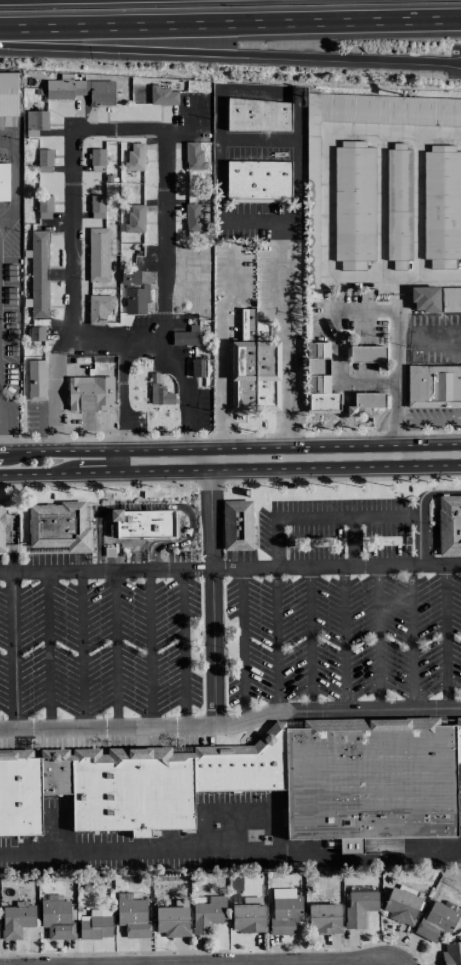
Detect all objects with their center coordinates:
road: (230, 31)
road: (230, 53)
building: (80, 89)
building: (8, 93)
building: (162, 95)
building: (257, 115)
building: (35, 119)
road: (128, 130)
building: (193, 155)
building: (133, 157)
building: (96, 159)
building: (43, 160)
road: (326, 171)
road: (20, 176)
building: (3, 181)
building: (257, 181)
road: (297, 182)
building: (311, 202)
building: (396, 202)
building: (353, 205)
building: (43, 206)
building: (96, 206)
building: (441, 206)
road: (218, 213)
building: (192, 217)
building: (134, 218)
building: (97, 254)
building: (36, 274)
road: (430, 274)
building: (136, 290)
road: (400, 292)
building: (424, 298)
building: (450, 299)
building: (98, 307)
road: (380, 309)
building: (35, 333)
building: (186, 336)
road: (111, 342)
building: (368, 355)
road: (219, 358)
building: (254, 366)
building: (197, 367)
building: (318, 378)
building: (35, 381)
building: (433, 385)
building: (90, 392)
building: (368, 400)
road: (121, 405)
road: (4, 425)
road: (259, 447)
road: (1, 451)
road: (30, 451)
road: (262, 468)
road: (35, 473)
road: (3, 474)
road: (149, 505)
road: (421, 510)
road: (348, 515)
building: (144, 520)
building: (236, 525)
building: (449, 525)
building: (58, 526)
building: (1, 527)
road: (98, 530)
road: (353, 541)
road: (181, 543)
road: (276, 543)
road: (230, 570)
road: (211, 587)
road: (445, 636)
road: (410, 637)
road: (376, 638)
road: (344, 639)
road: (309, 640)
road: (277, 641)
road: (243, 646)
road: (150, 649)
road: (184, 649)
road: (81, 650)
road: (116, 650)
road: (14, 651)
road: (45, 651)
road: (231, 726)
building: (458, 744)
building: (265, 768)
building: (217, 774)
building: (57, 775)
building: (371, 783)
building: (133, 794)
building: (20, 796)
road: (231, 853)
building: (358, 904)
building: (400, 905)
building: (284, 910)
building: (207, 914)
building: (247, 914)
building: (132, 917)
building: (324, 917)
building: (56, 919)
building: (172, 919)
building: (15, 920)
building: (436, 920)
building: (95, 924)
building: (451, 953)

